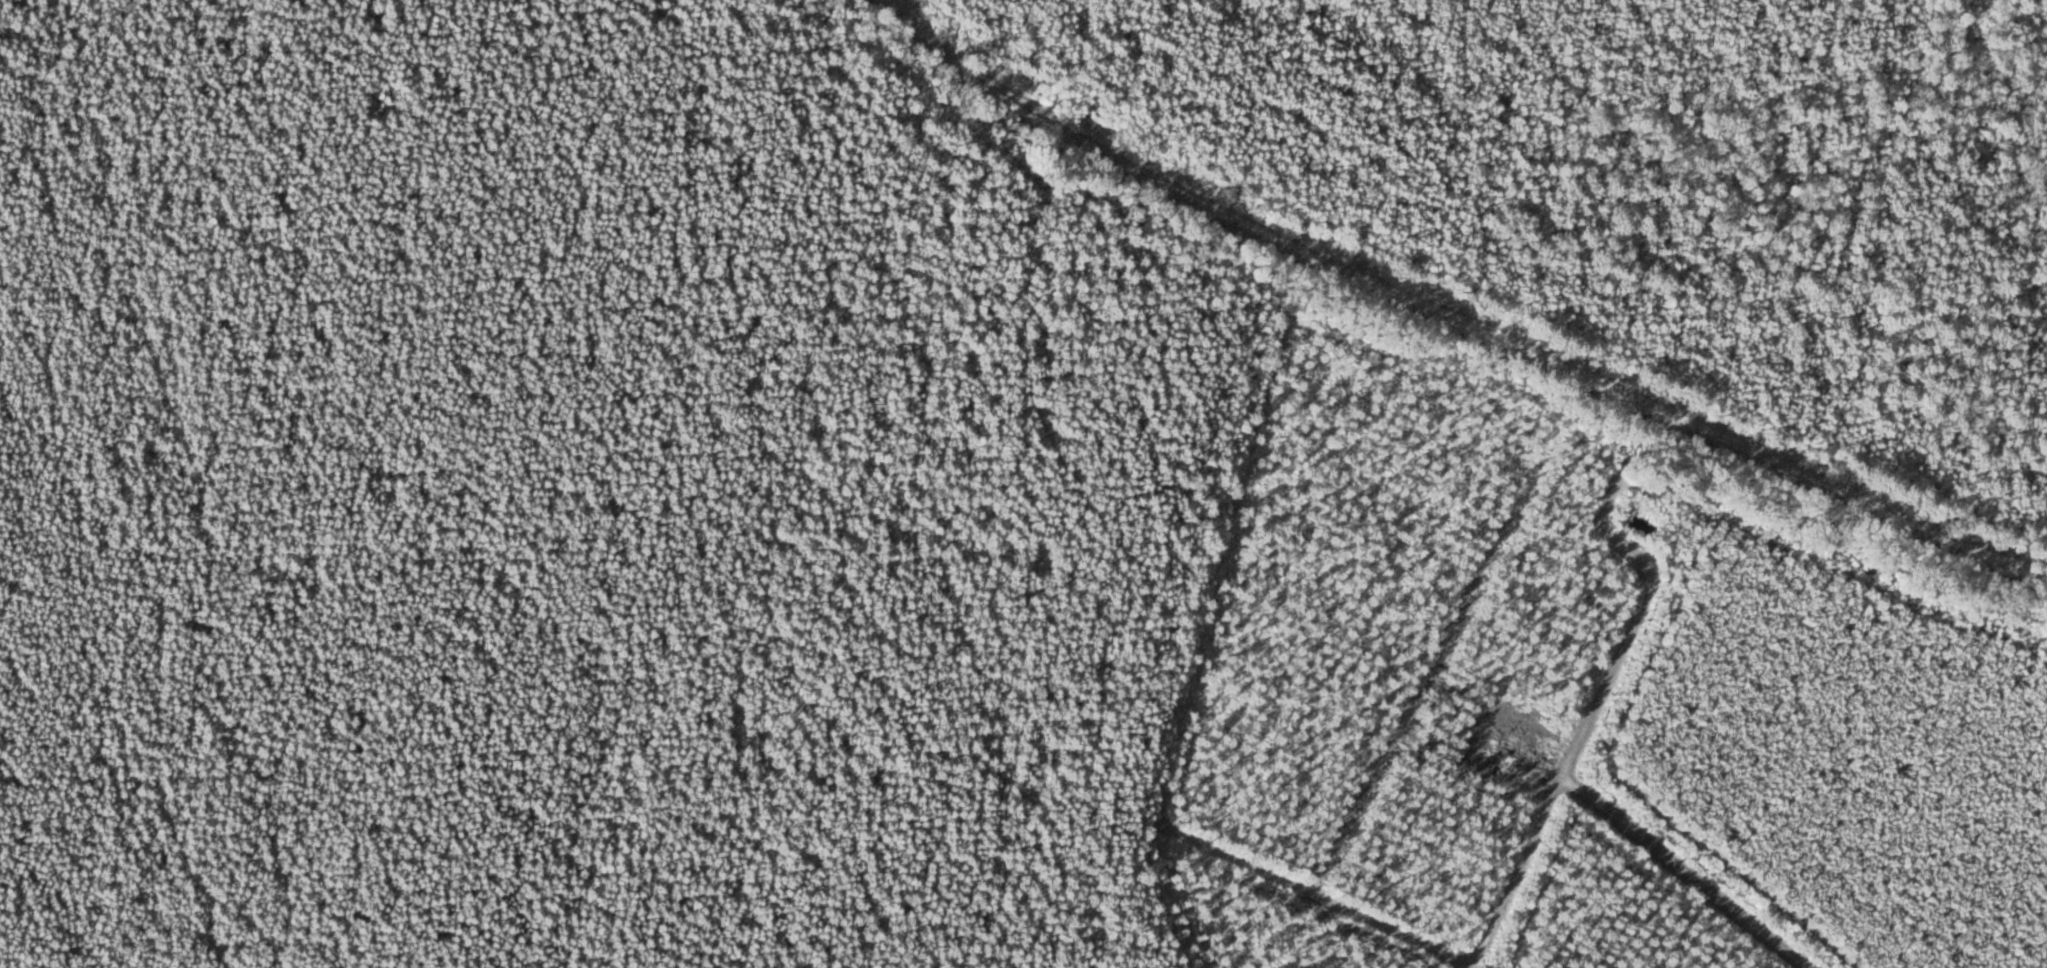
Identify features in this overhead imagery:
road: (1619, 783)

